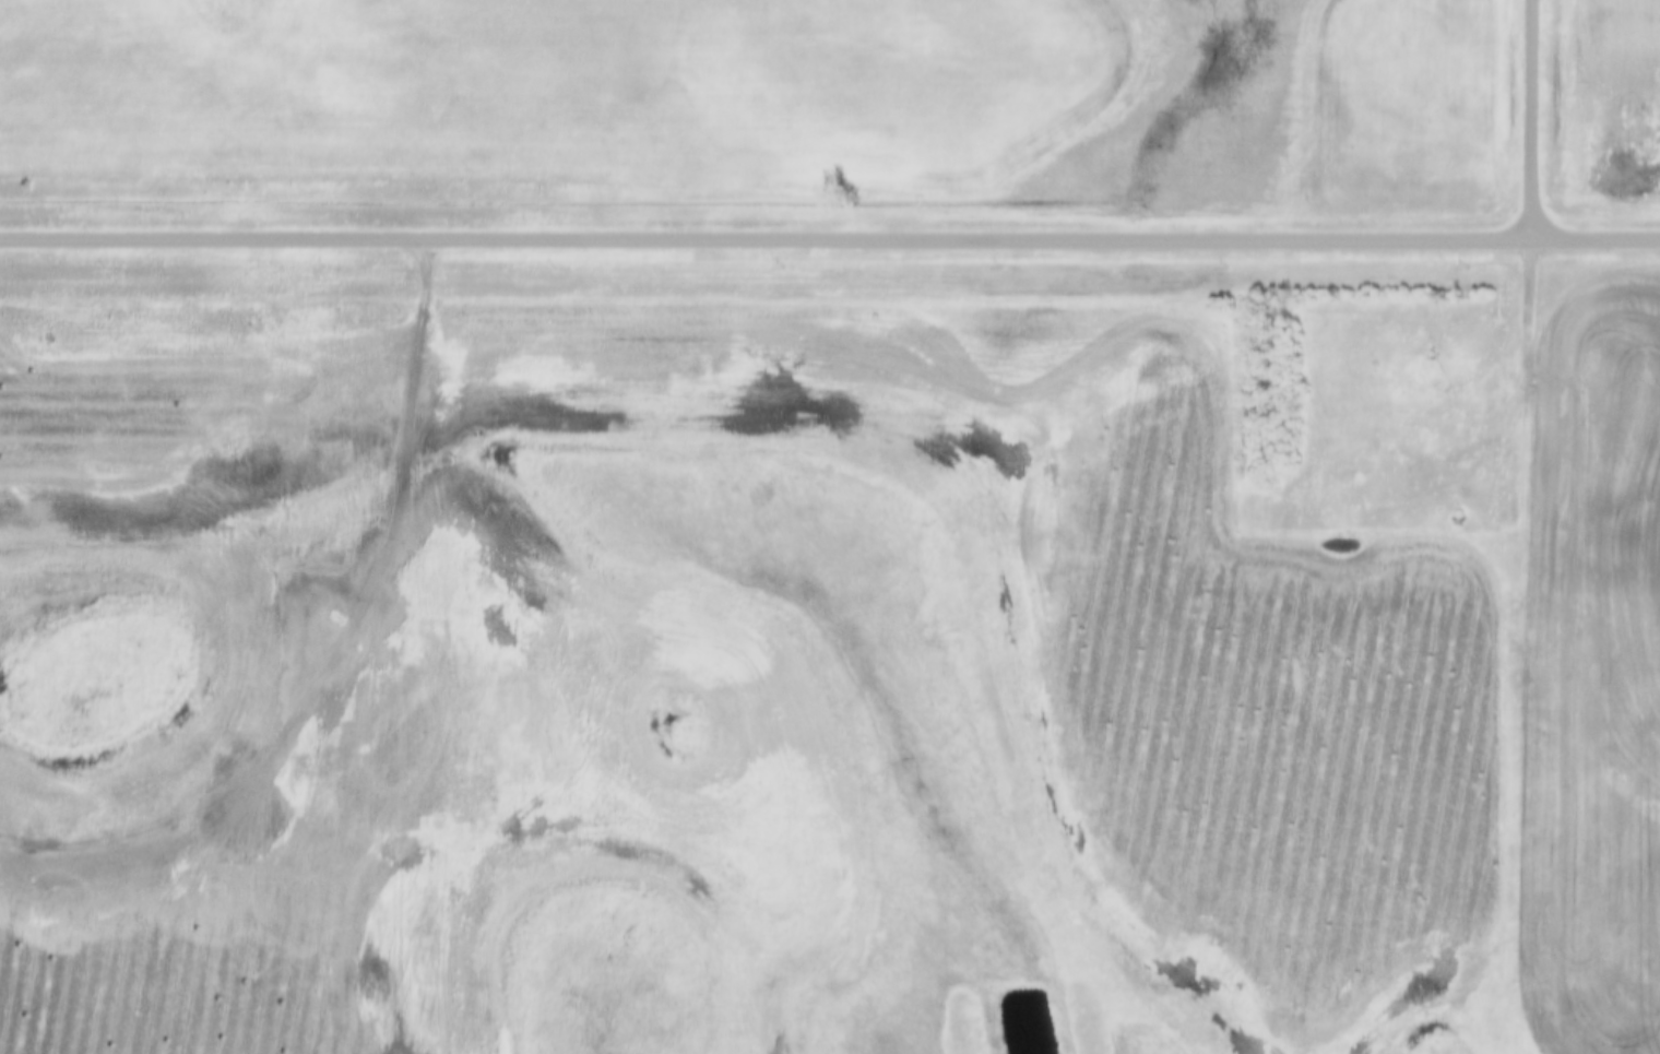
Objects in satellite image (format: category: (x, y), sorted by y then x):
road: (1534, 118)
road: (829, 236)
road: (1525, 382)
building: (1273, 500)
building: (1455, 521)

